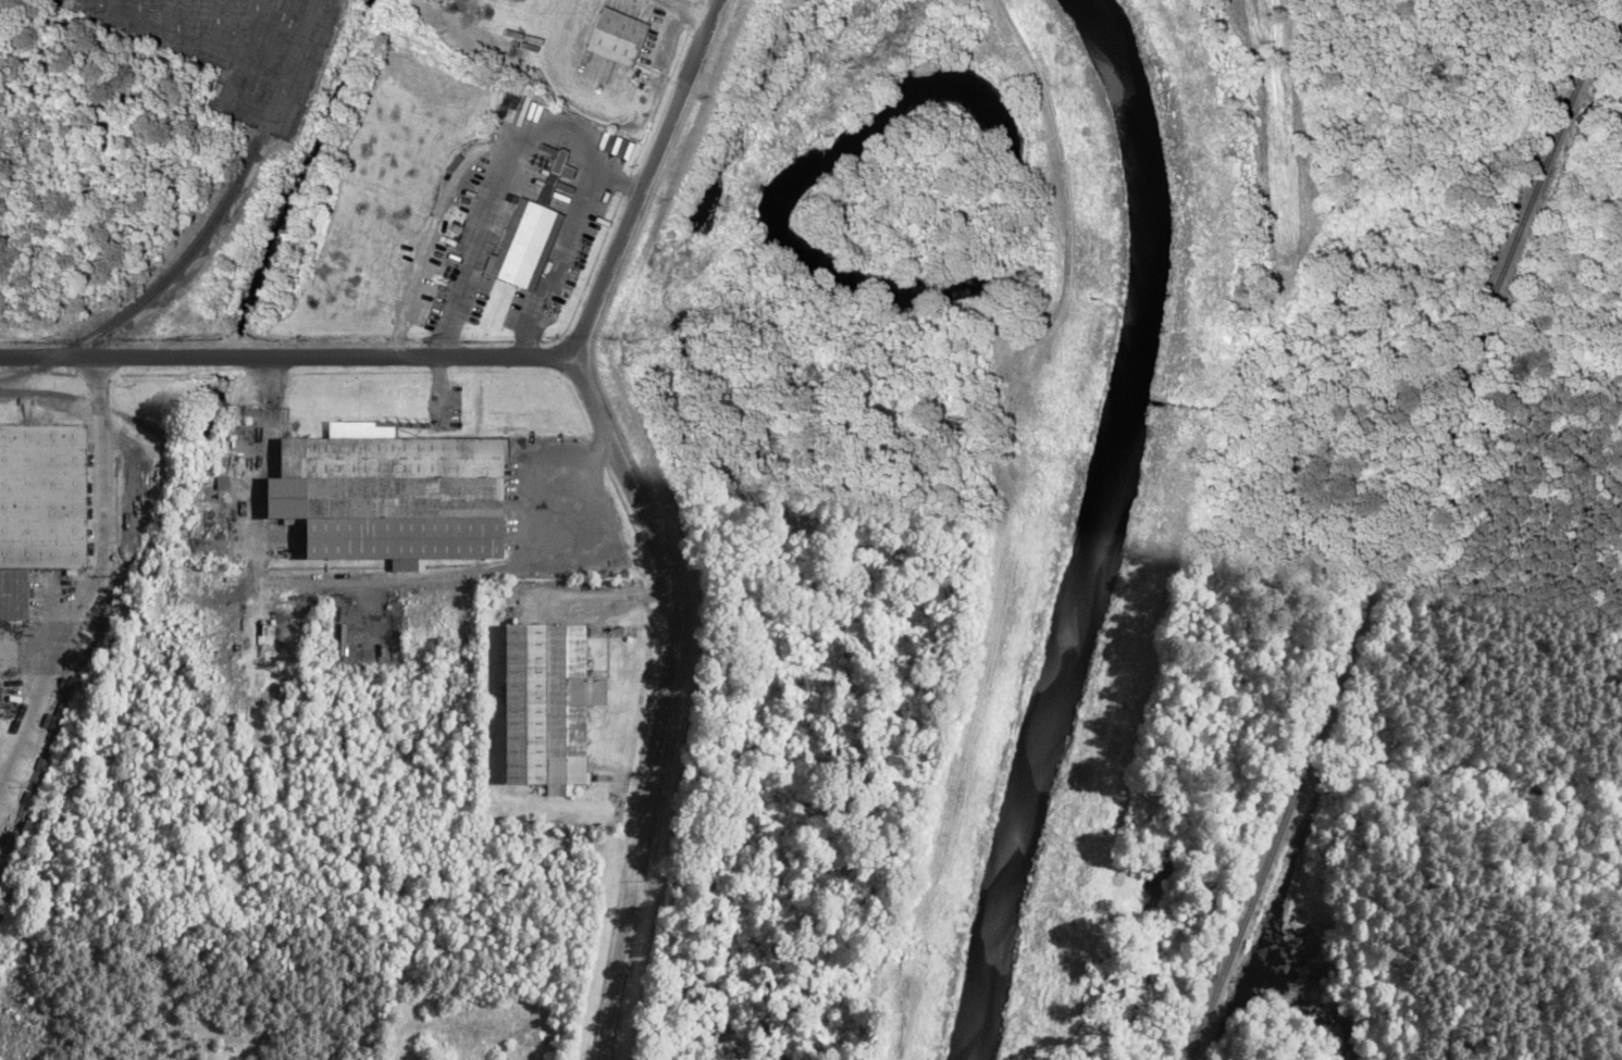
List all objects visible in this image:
building: (609, 35)
railway: (208, 232)
building: (520, 246)
road: (287, 354)
railway: (103, 404)
building: (387, 492)
building: (39, 503)
road: (642, 515)
railway: (1407, 532)
building: (543, 706)

